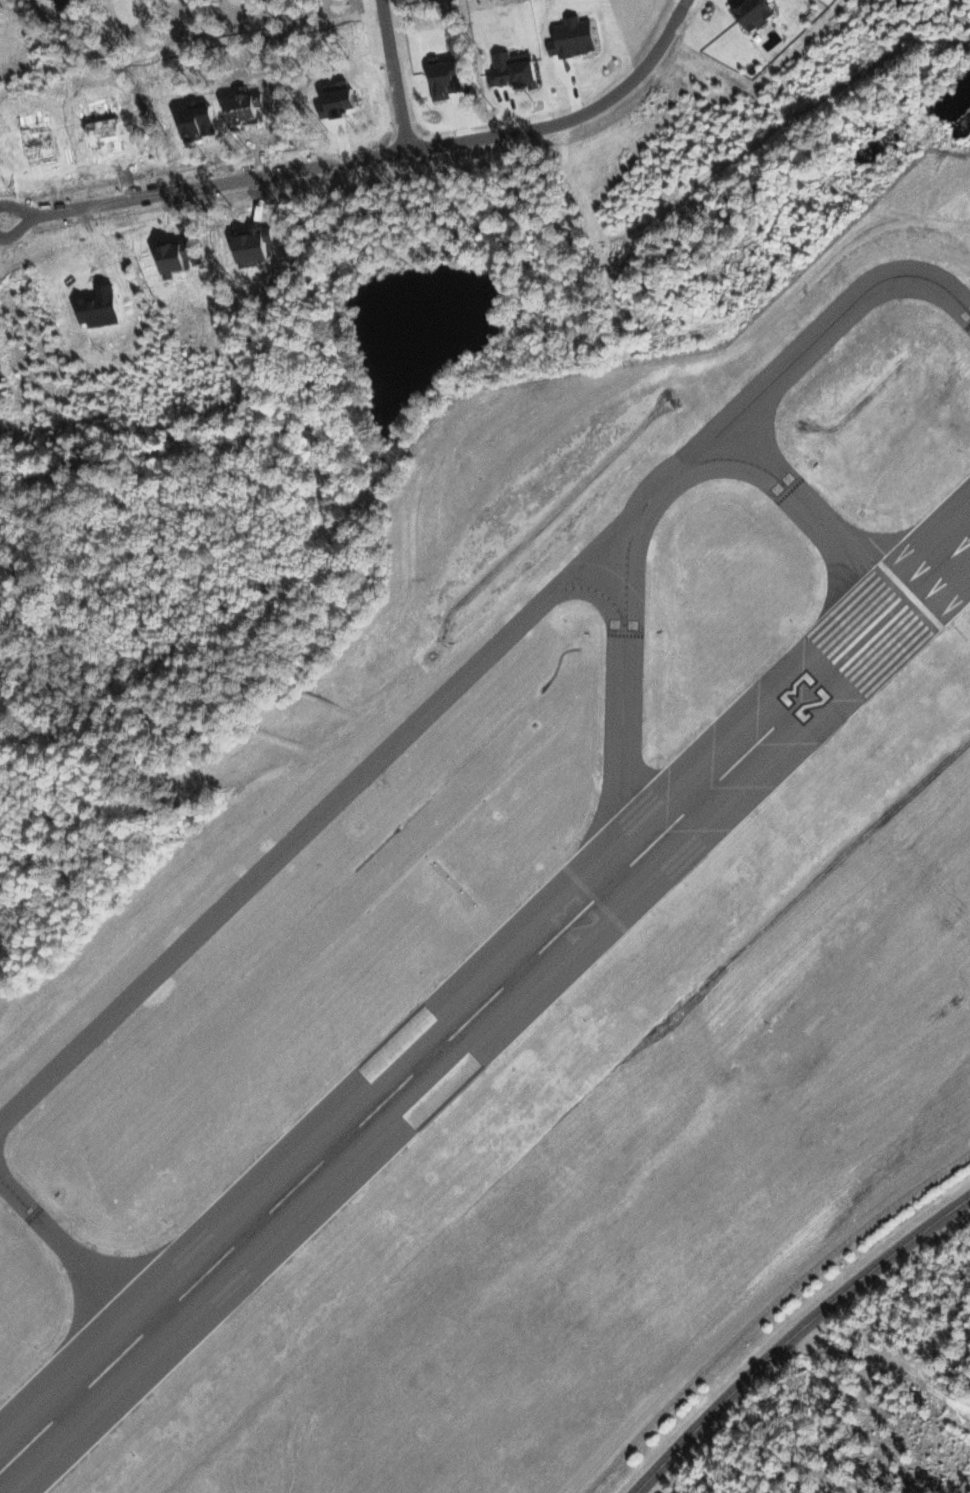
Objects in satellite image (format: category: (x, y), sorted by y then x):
building: (749, 13)
road: (391, 74)
building: (438, 78)
road: (384, 152)
road: (26, 220)
airport taxiway: (814, 340)
airport taxiway: (798, 500)
airport taxiway: (936, 568)
airport taxiway: (597, 590)
airport taxiway: (622, 682)
building: (807, 702)
airport taxiway: (333, 801)
airport: (537, 956)
airport runway: (451, 1035)
airport taxiway: (0, 1121)
airport taxiway: (0, 1179)
airport taxiway: (79, 1261)
airport taxiway: (138, 1283)
road: (795, 1335)

